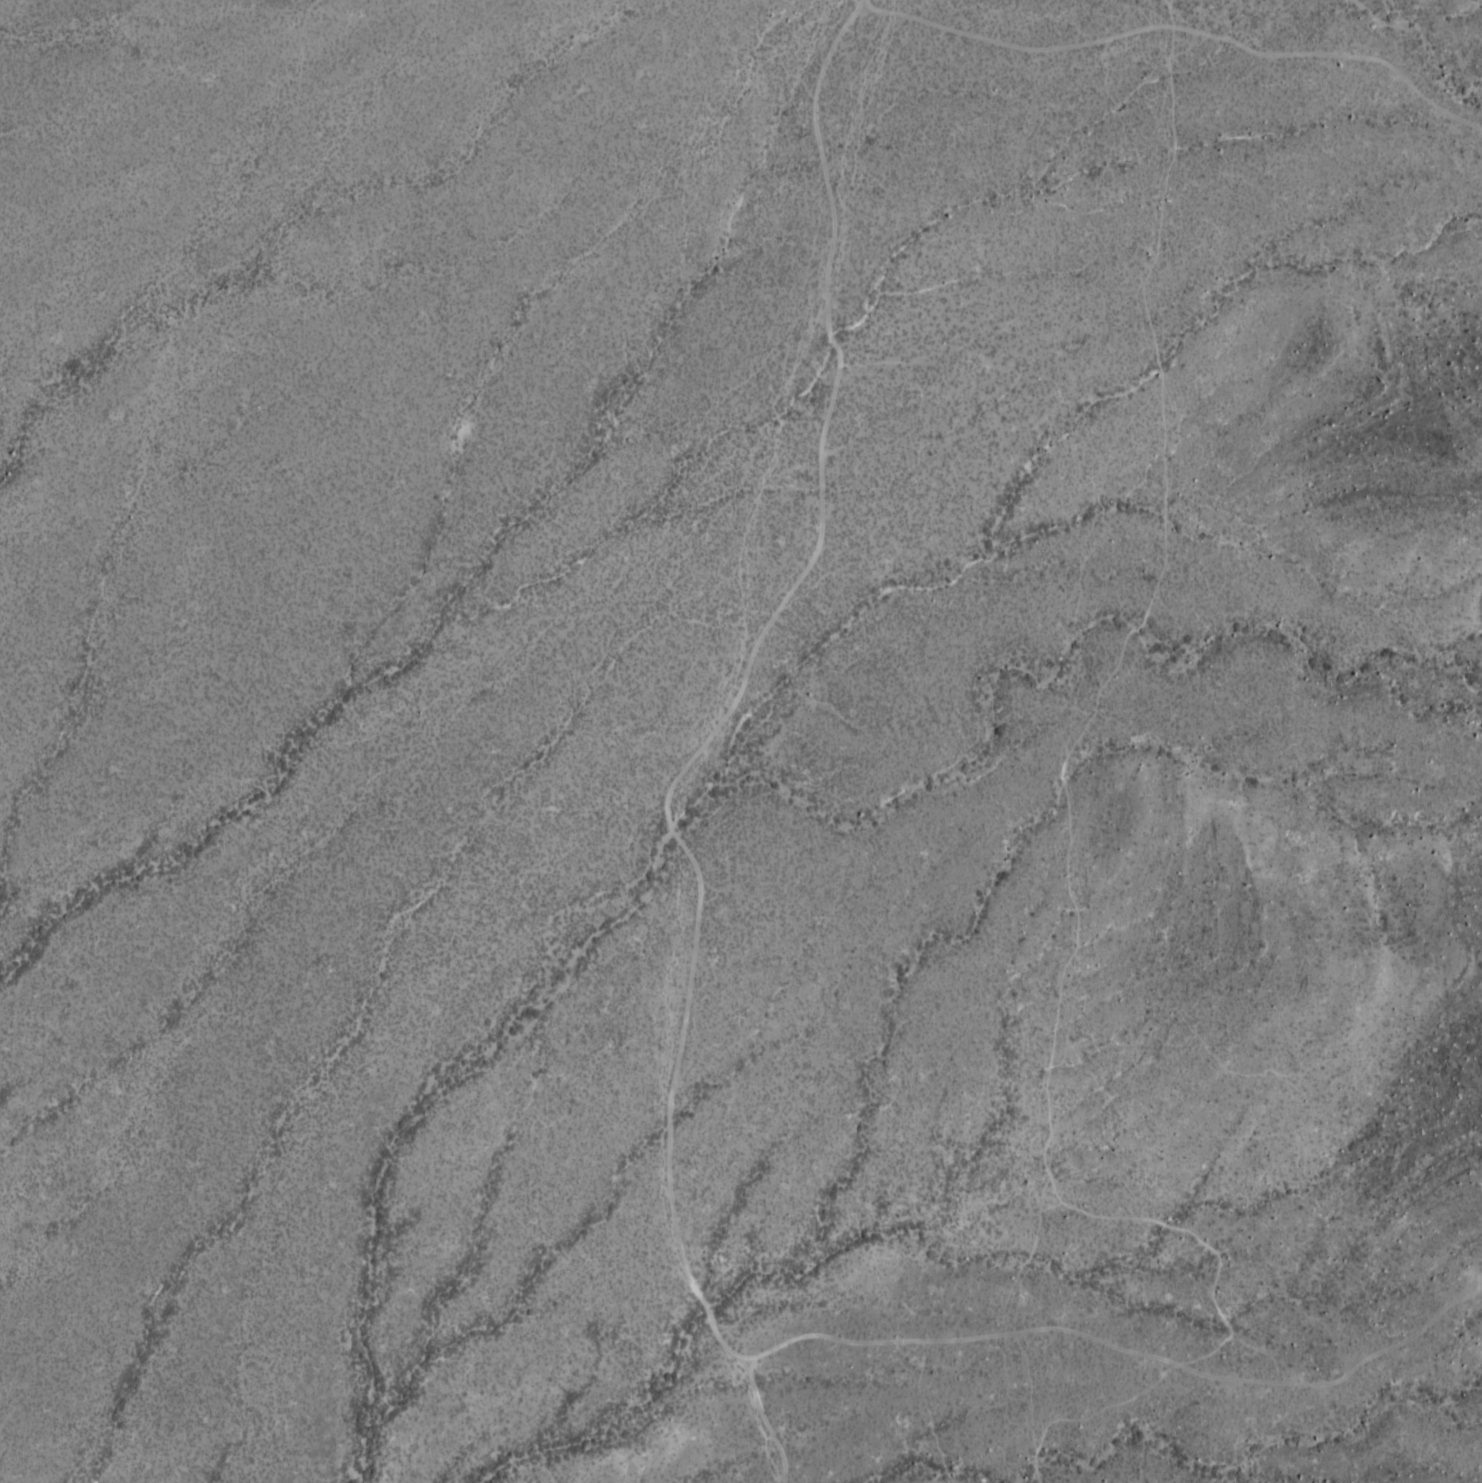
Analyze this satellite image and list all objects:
road: (864, 0)
road: (1182, 22)
road: (704, 740)
road: (1068, 854)
road: (980, 1333)

